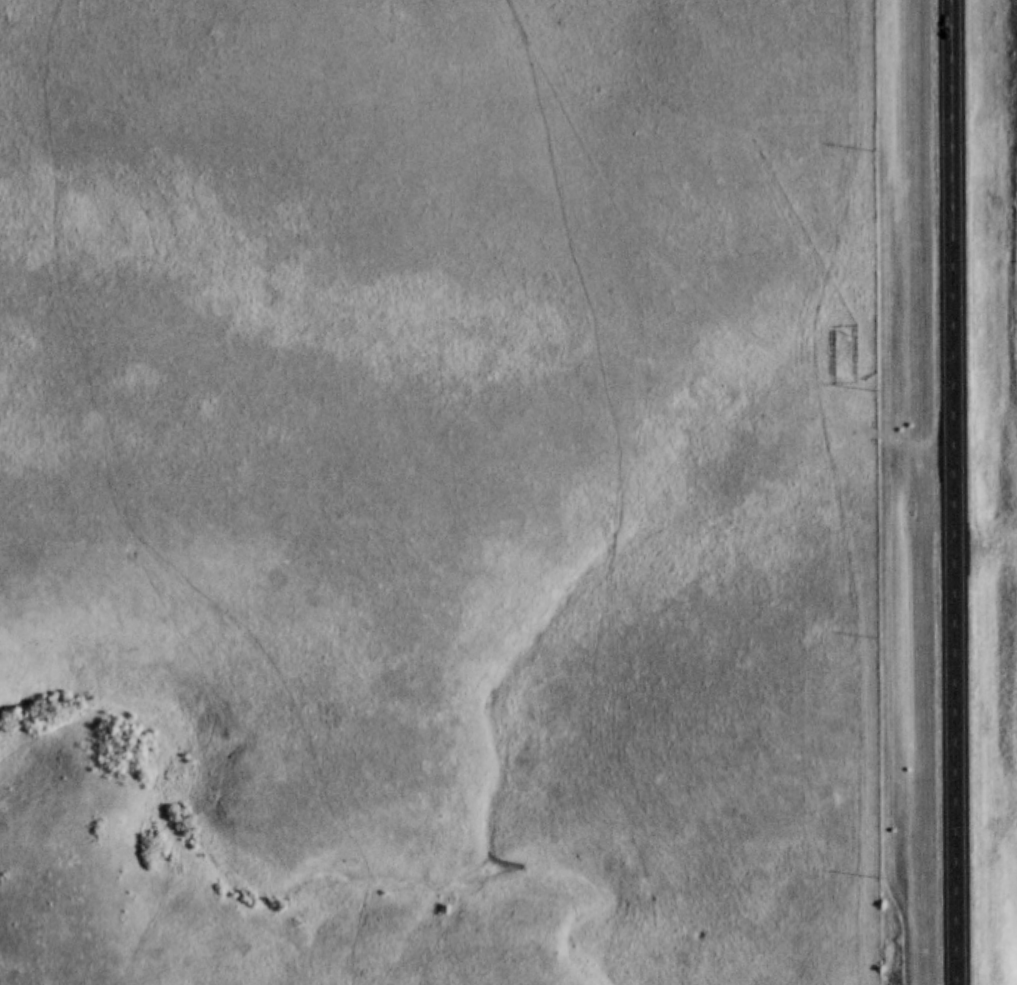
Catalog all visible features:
road: (954, 492)

